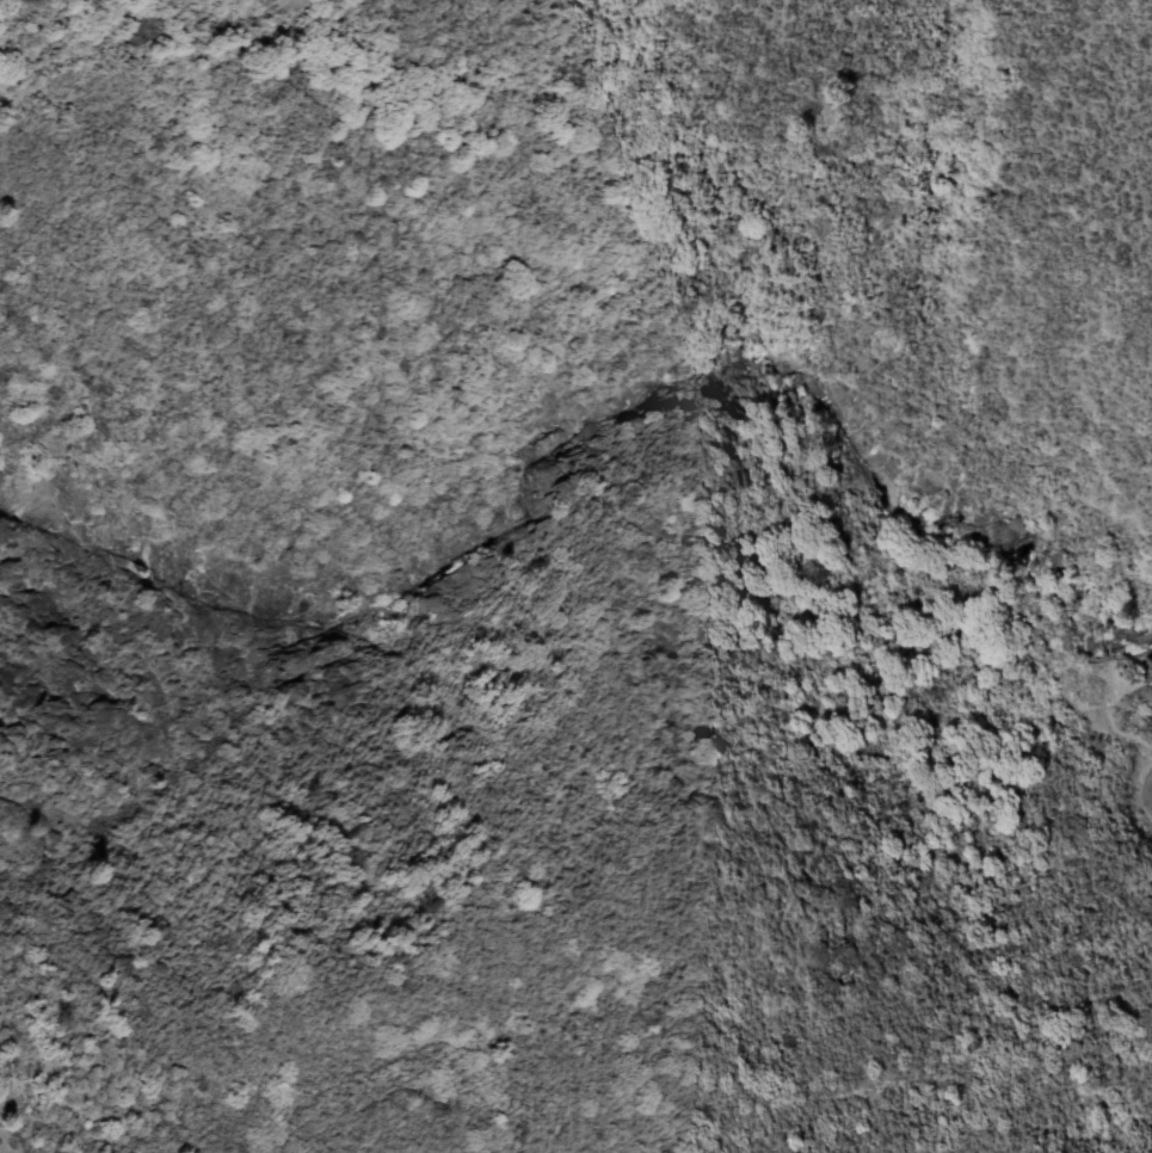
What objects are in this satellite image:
road: (1122, 779)

